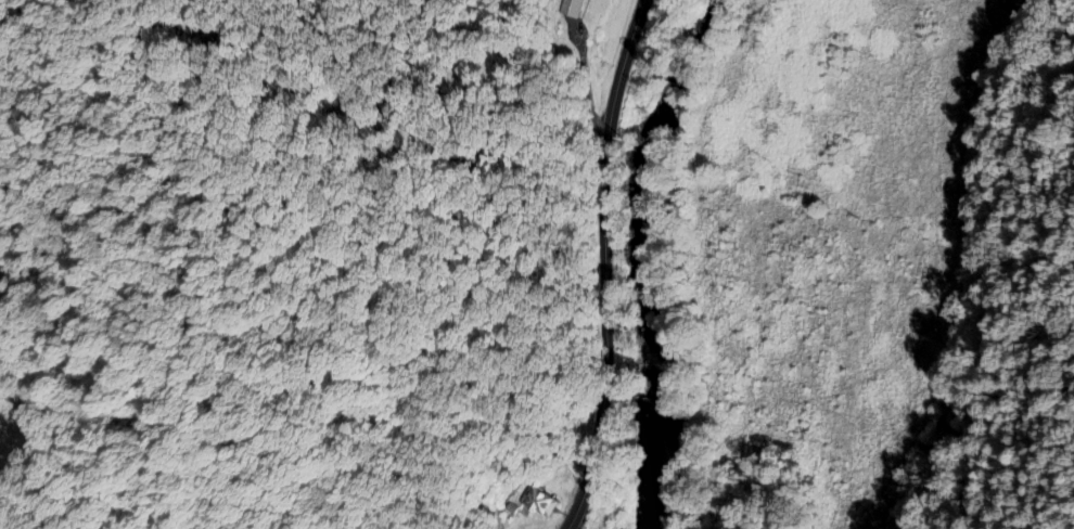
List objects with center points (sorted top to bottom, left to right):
building: (567, 9)
river: (655, 255)
road: (599, 263)
building: (555, 453)
building: (535, 504)

